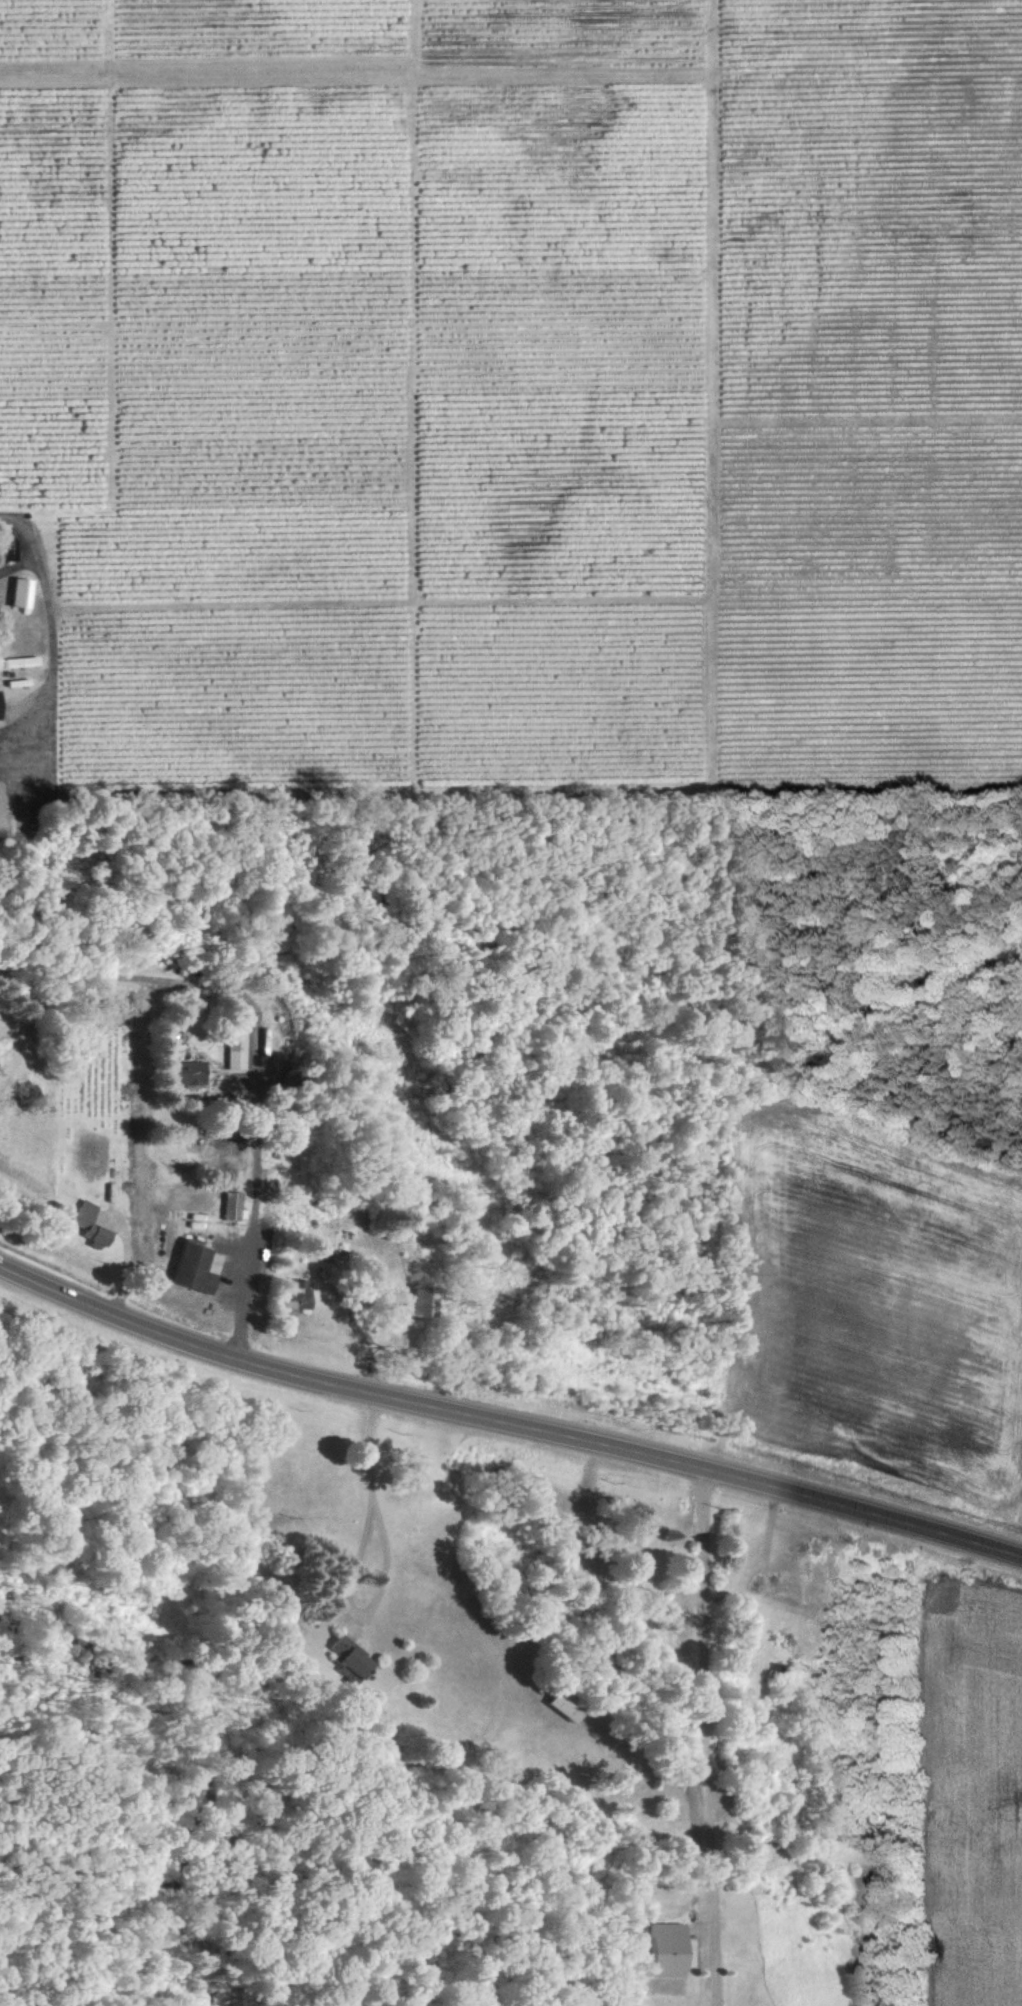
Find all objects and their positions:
building: (6, 545)
road: (19, 566)
building: (16, 592)
road: (49, 644)
building: (233, 1038)
building: (182, 1072)
building: (229, 1205)
building: (87, 1223)
building: (189, 1267)
building: (291, 1294)
building: (416, 1300)
road: (355, 1335)
road: (505, 1426)
road: (377, 1572)
building: (345, 1657)
building: (558, 1705)
road: (703, 1739)
building: (662, 1949)

